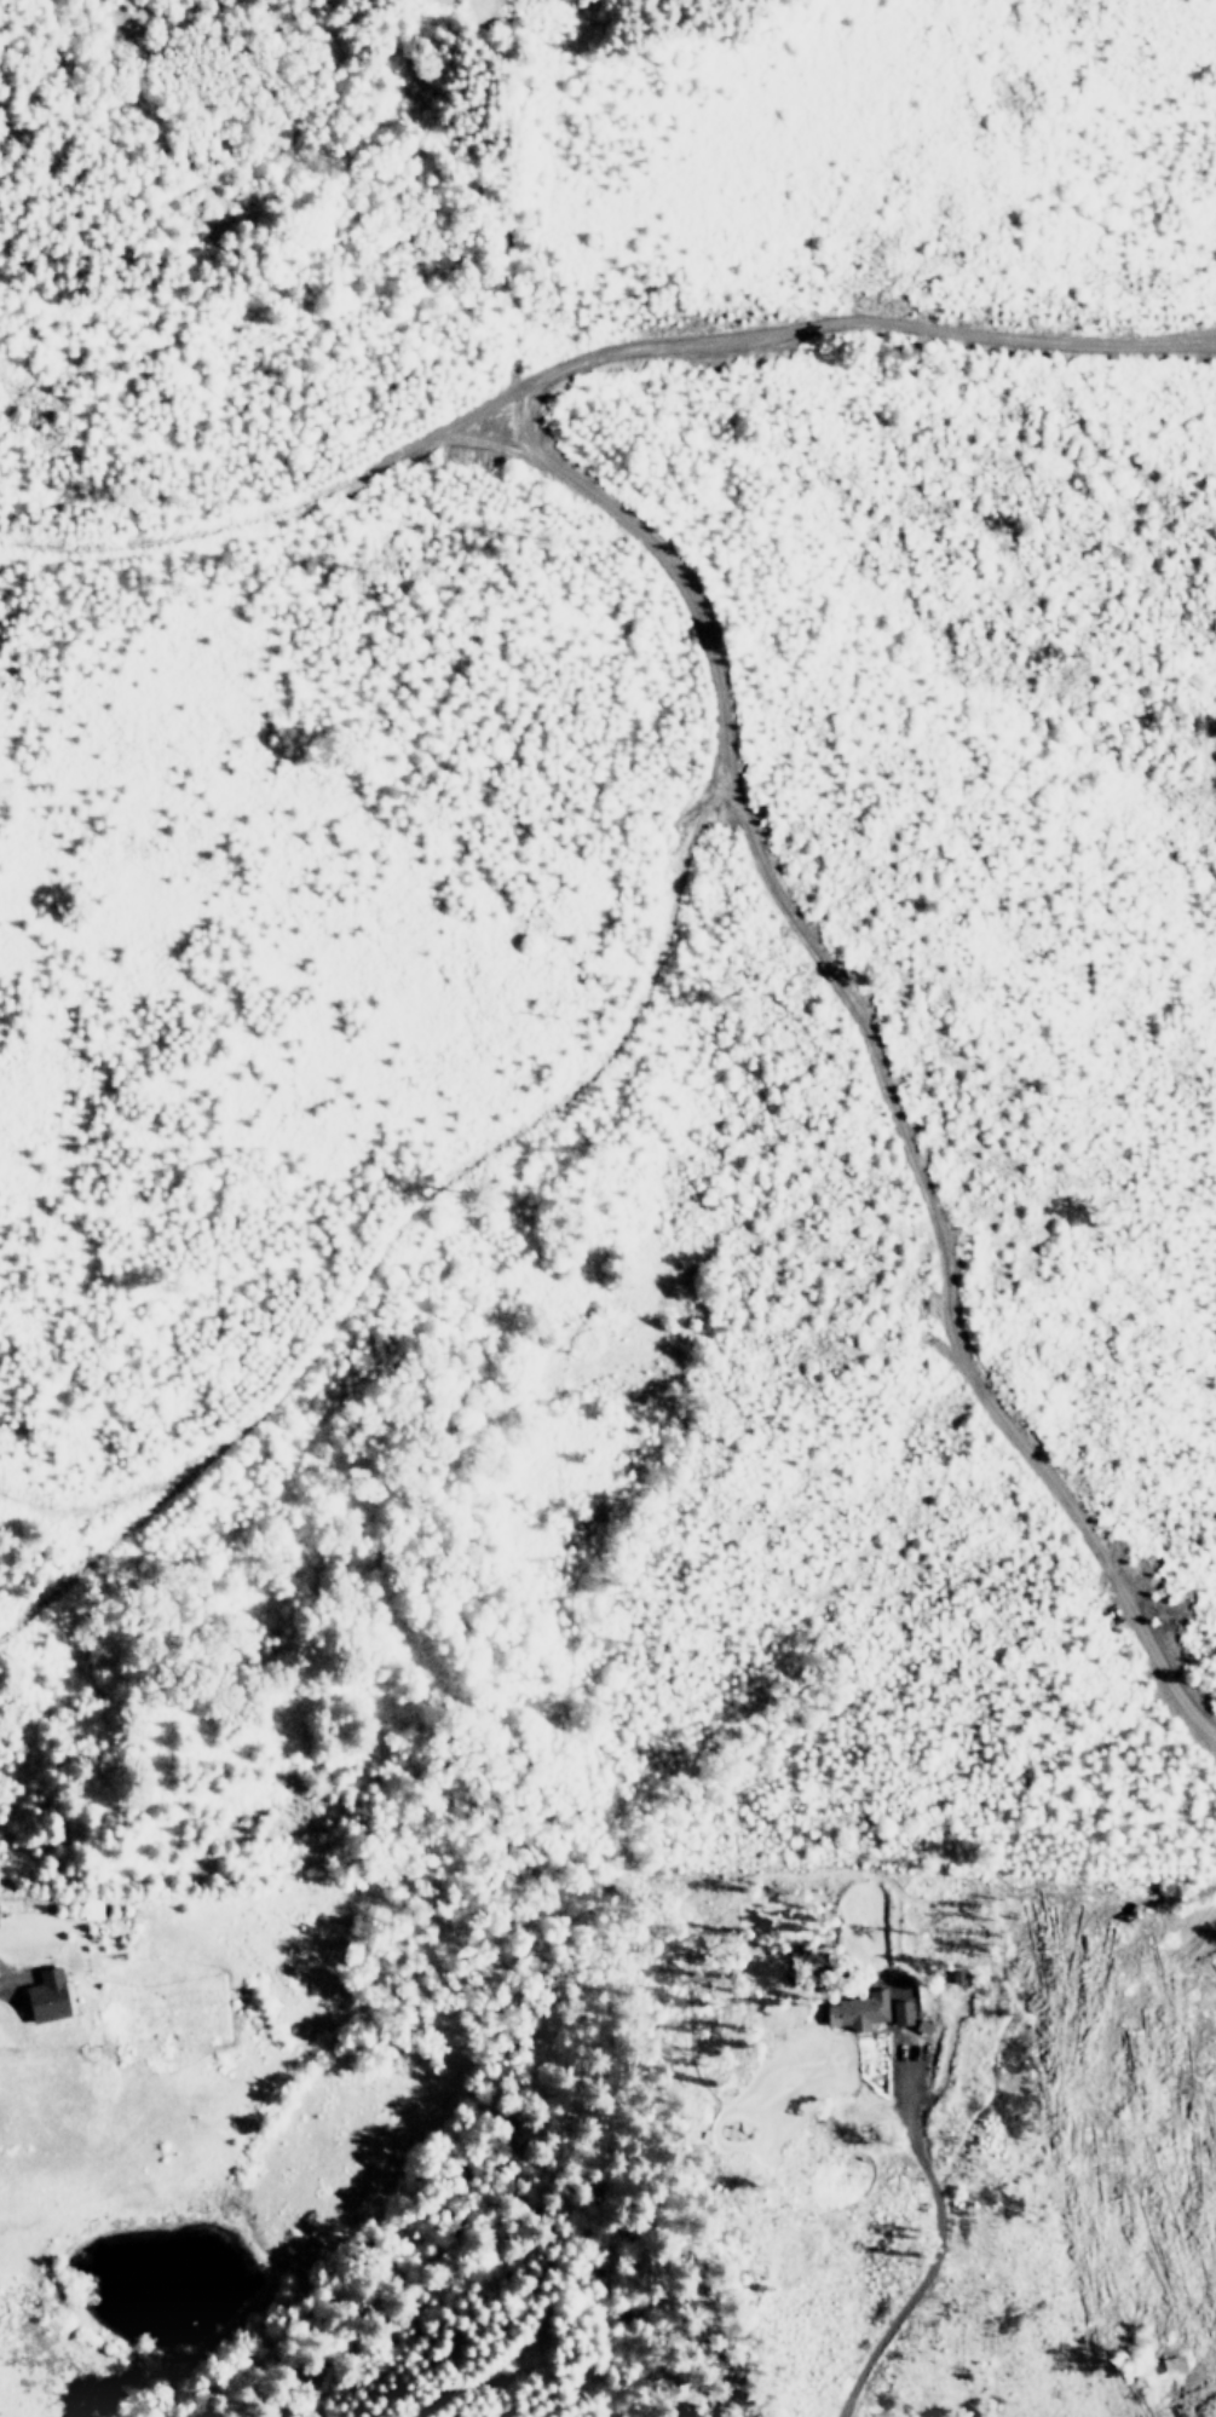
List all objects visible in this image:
road: (554, 1101)
road: (2, 1978)
building: (47, 1996)
building: (858, 2011)
building: (901, 2012)
road: (929, 2257)

